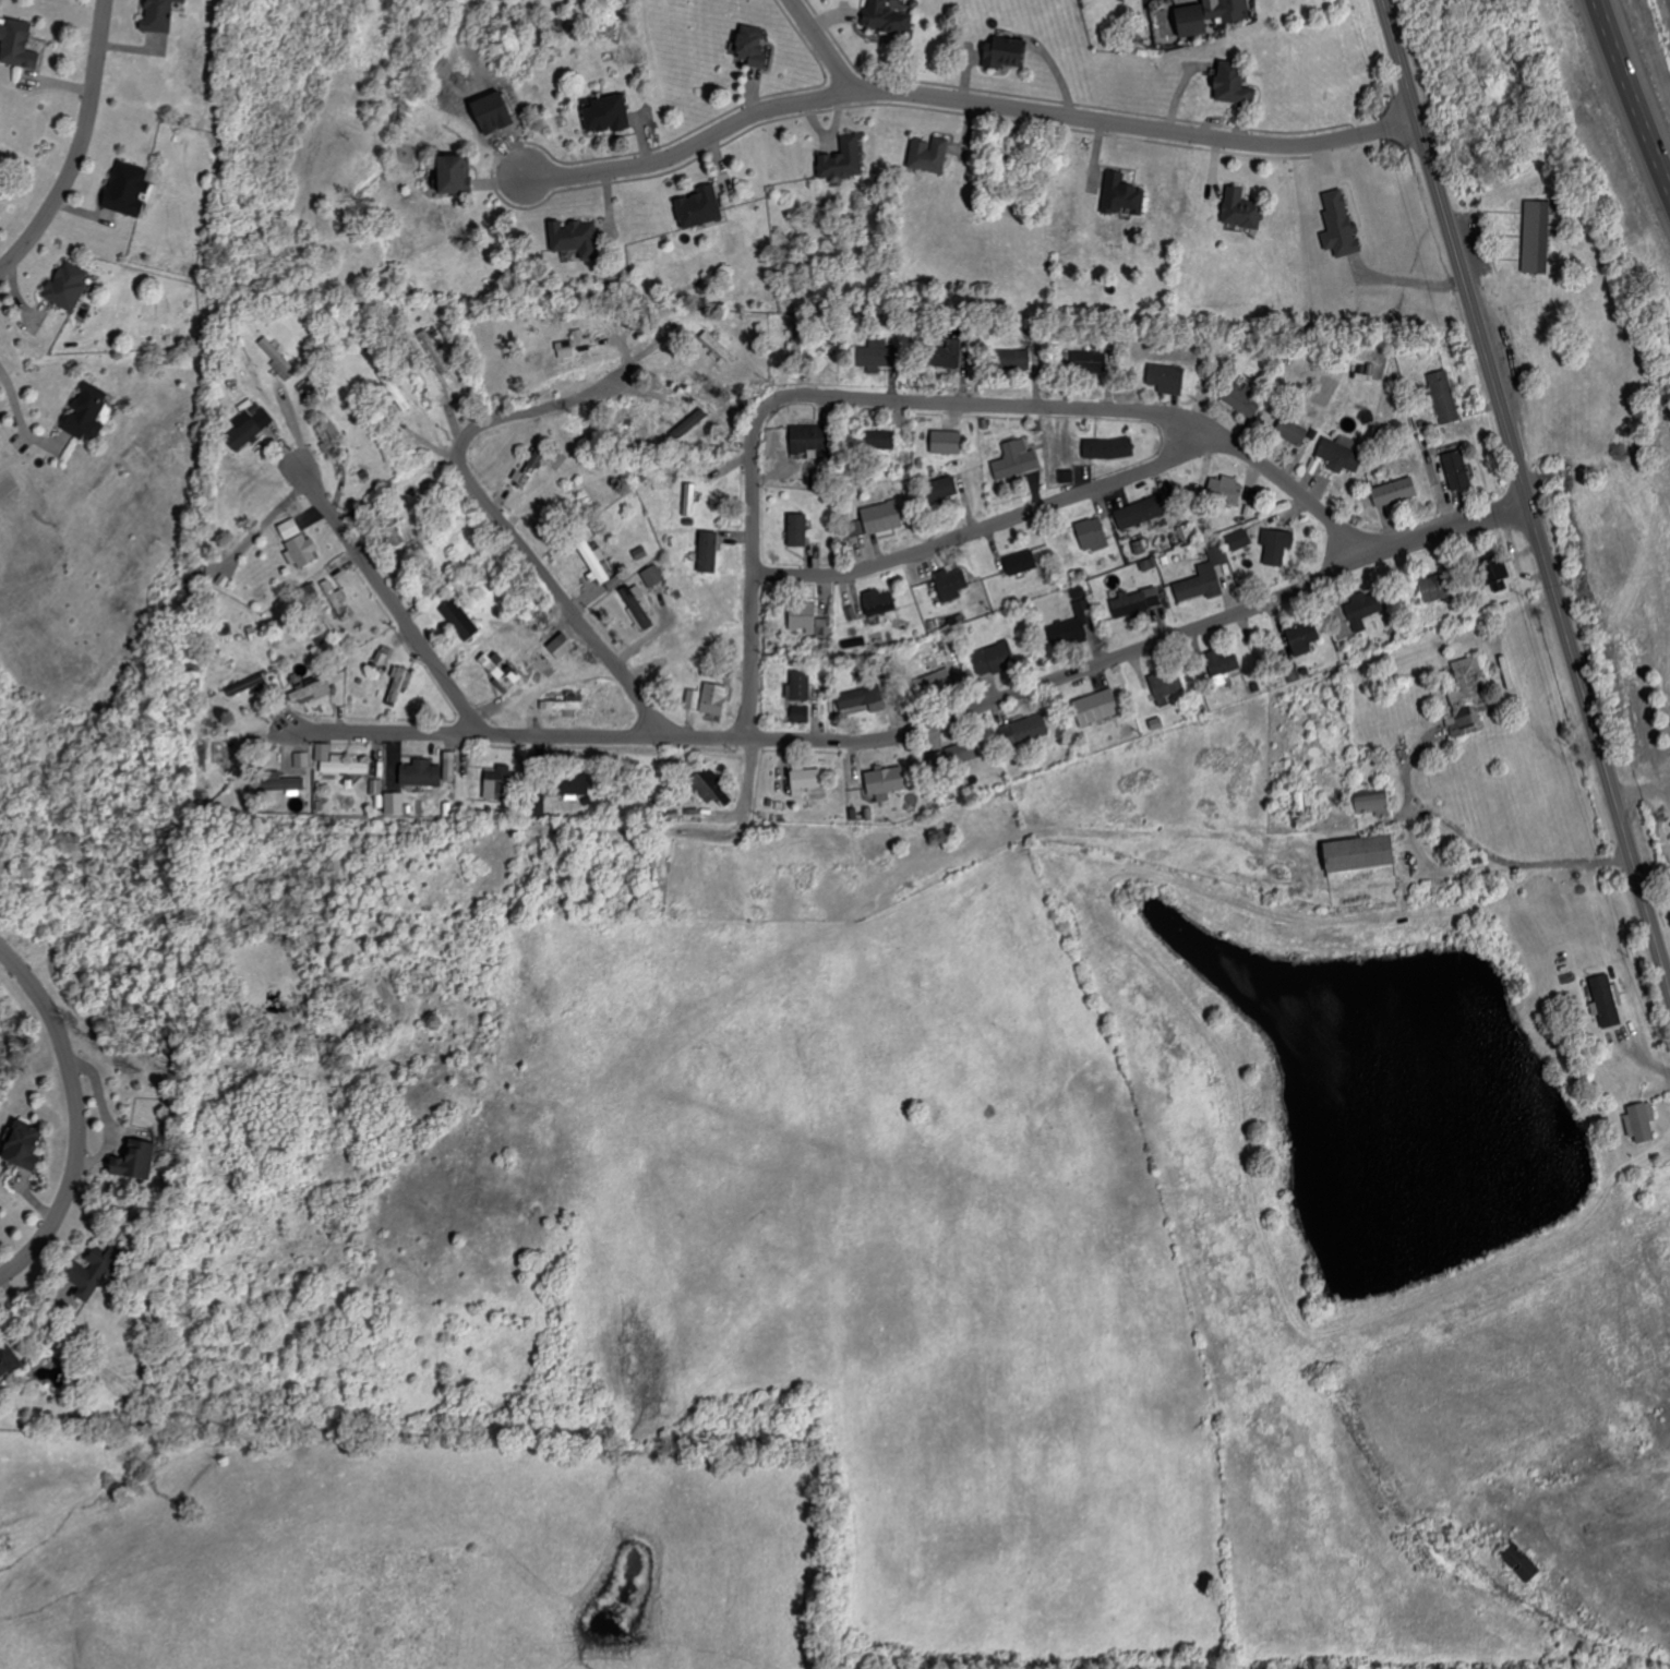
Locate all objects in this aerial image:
building: (1211, 14)
building: (159, 15)
building: (886, 17)
building: (17, 43)
building: (752, 45)
road: (822, 46)
building: (1005, 51)
building: (1234, 83)
road: (1630, 96)
road: (966, 104)
building: (608, 113)
road: (80, 147)
building: (929, 154)
building: (843, 158)
building: (455, 172)
building: (128, 188)
building: (1122, 194)
building: (700, 206)
building: (1241, 208)
building: (1339, 224)
building: (1537, 236)
building: (576, 238)
building: (68, 286)
building: (574, 345)
building: (719, 347)
building: (947, 353)
building: (878, 356)
building: (279, 359)
building: (1013, 359)
building: (1090, 360)
building: (1167, 377)
building: (1444, 396)
building: (1244, 397)
road: (20, 409)
road: (1086, 411)
building: (87, 412)
building: (689, 423)
building: (249, 425)
building: (1291, 431)
building: (328, 434)
building: (808, 437)
building: (881, 439)
building: (947, 442)
building: (1109, 448)
building: (1339, 456)
building: (1017, 459)
building: (1457, 469)
building: (528, 470)
building: (1067, 476)
building: (942, 488)
building: (1226, 489)
building: (1395, 491)
road: (1526, 494)
building: (690, 500)
building: (1140, 512)
building: (882, 516)
road: (993, 525)
building: (290, 528)
road: (752, 528)
building: (857, 528)
building: (797, 529)
building: (1092, 532)
road: (512, 537)
building: (1240, 540)
building: (1276, 545)
building: (302, 550)
building: (708, 551)
building: (640, 552)
building: (594, 560)
building: (1022, 562)
building: (1497, 573)
building: (653, 575)
building: (1205, 576)
building: (614, 583)
building: (951, 584)
building: (1435, 587)
building: (879, 601)
building: (1137, 601)
road: (393, 602)
building: (637, 604)
building: (1363, 609)
building: (459, 619)
building: (807, 619)
building: (1073, 623)
building: (1303, 637)
building: (562, 645)
building: (995, 659)
building: (1223, 661)
building: (502, 671)
building: (938, 681)
building: (399, 683)
building: (247, 685)
building: (800, 685)
building: (1167, 685)
building: (310, 691)
building: (714, 698)
building: (863, 698)
building: (1467, 698)
building: (694, 699)
building: (563, 705)
building: (1096, 707)
building: (801, 713)
road: (926, 727)
building: (1023, 731)
building: (962, 753)
building: (302, 759)
building: (345, 765)
building: (428, 772)
building: (887, 779)
building: (805, 780)
building: (279, 781)
building: (498, 782)
building: (575, 784)
building: (710, 787)
building: (1373, 802)
building: (395, 803)
building: (539, 804)
road: (1480, 842)
building: (1360, 853)
building: (546, 863)
building: (1606, 1001)
road: (79, 1116)
building: (1642, 1121)
building: (24, 1146)
building: (135, 1161)
building: (94, 1273)
building: (8, 1359)
building: (0, 1390)
building: (1521, 1562)

